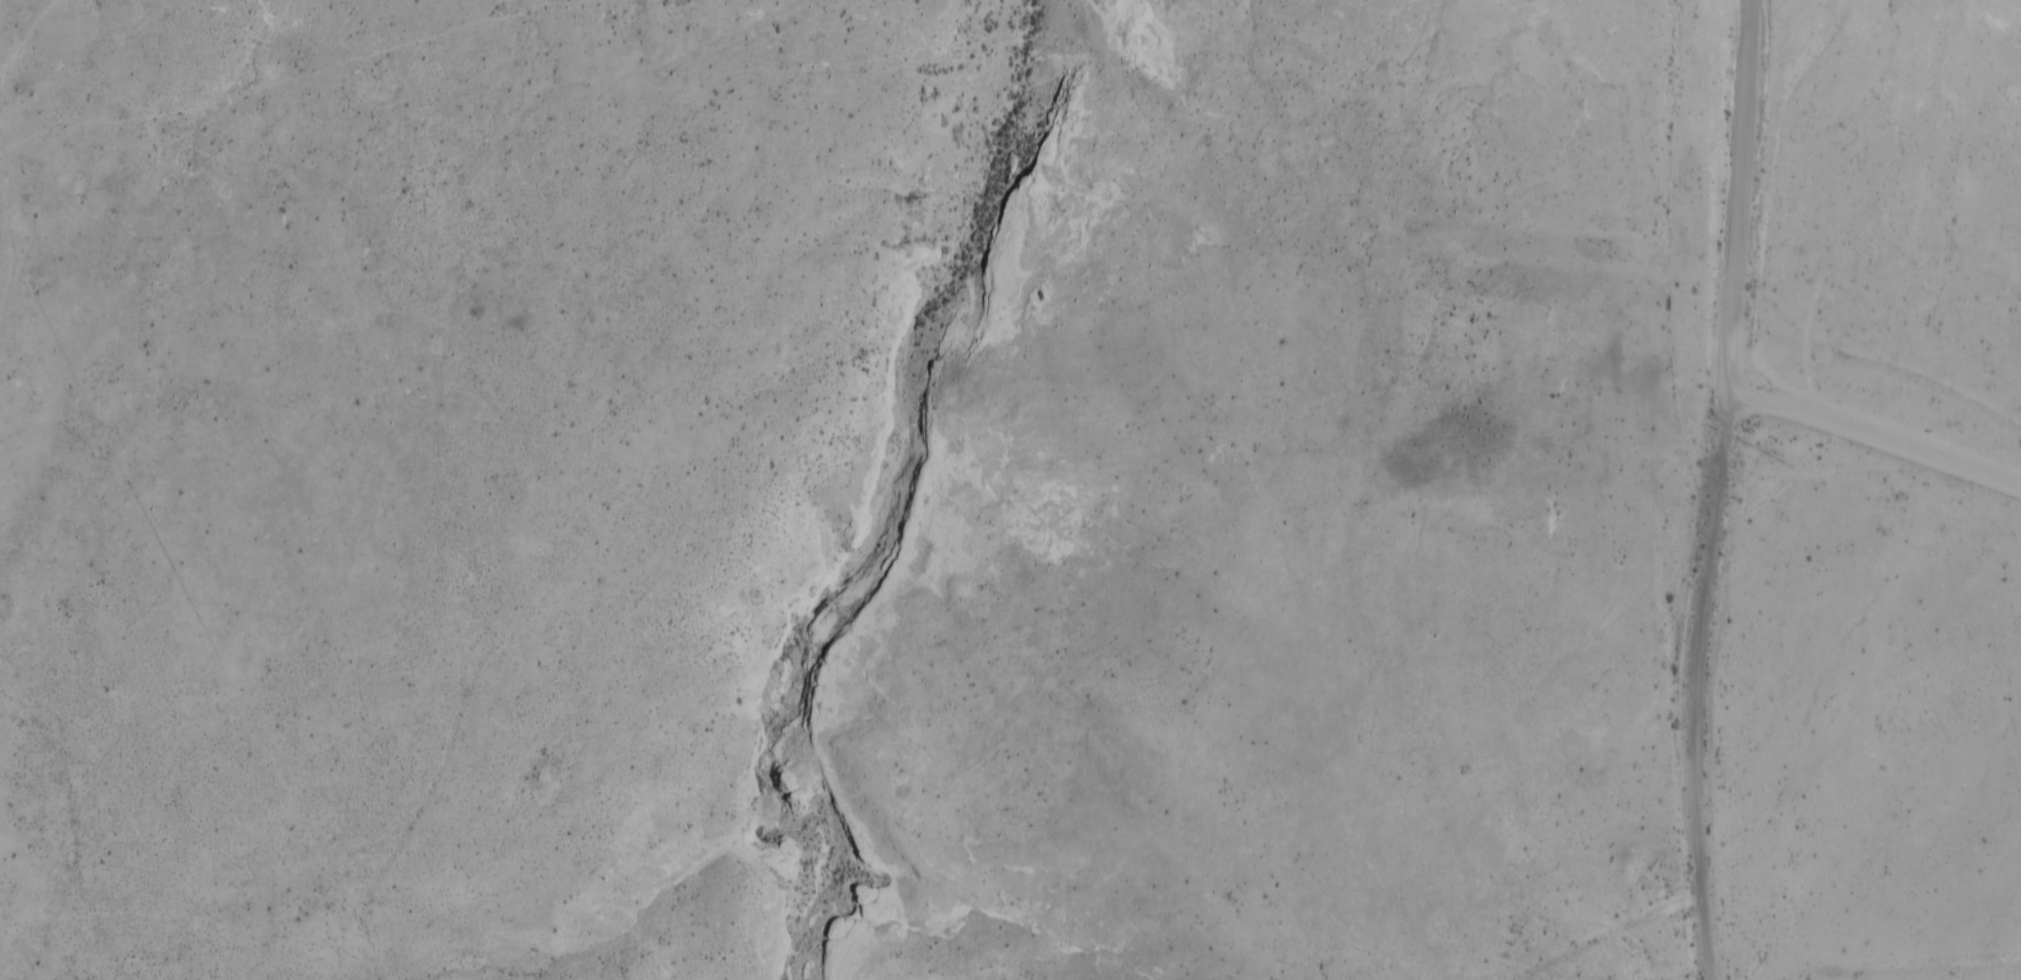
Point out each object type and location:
road: (1741, 191)
road: (1729, 406)
road: (1876, 437)
road: (1694, 704)

